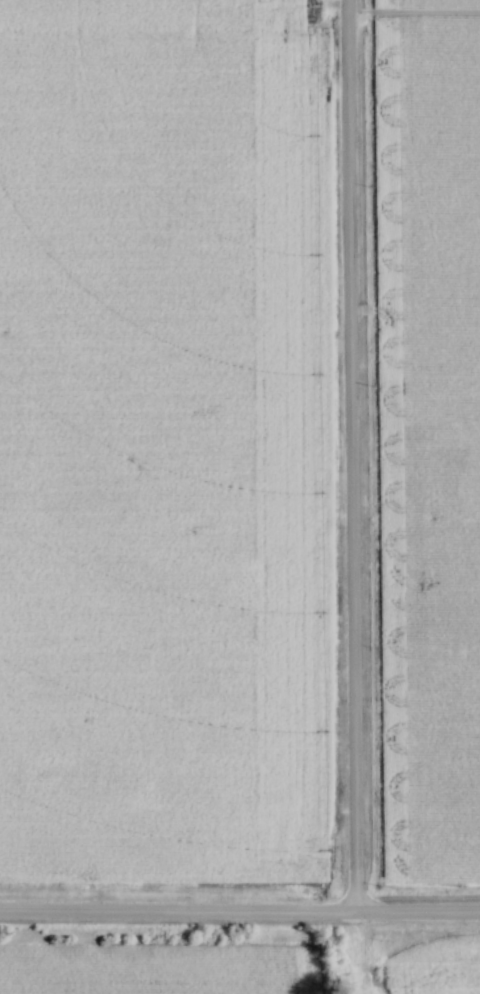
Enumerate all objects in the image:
road: (346, 456)
road: (239, 912)

